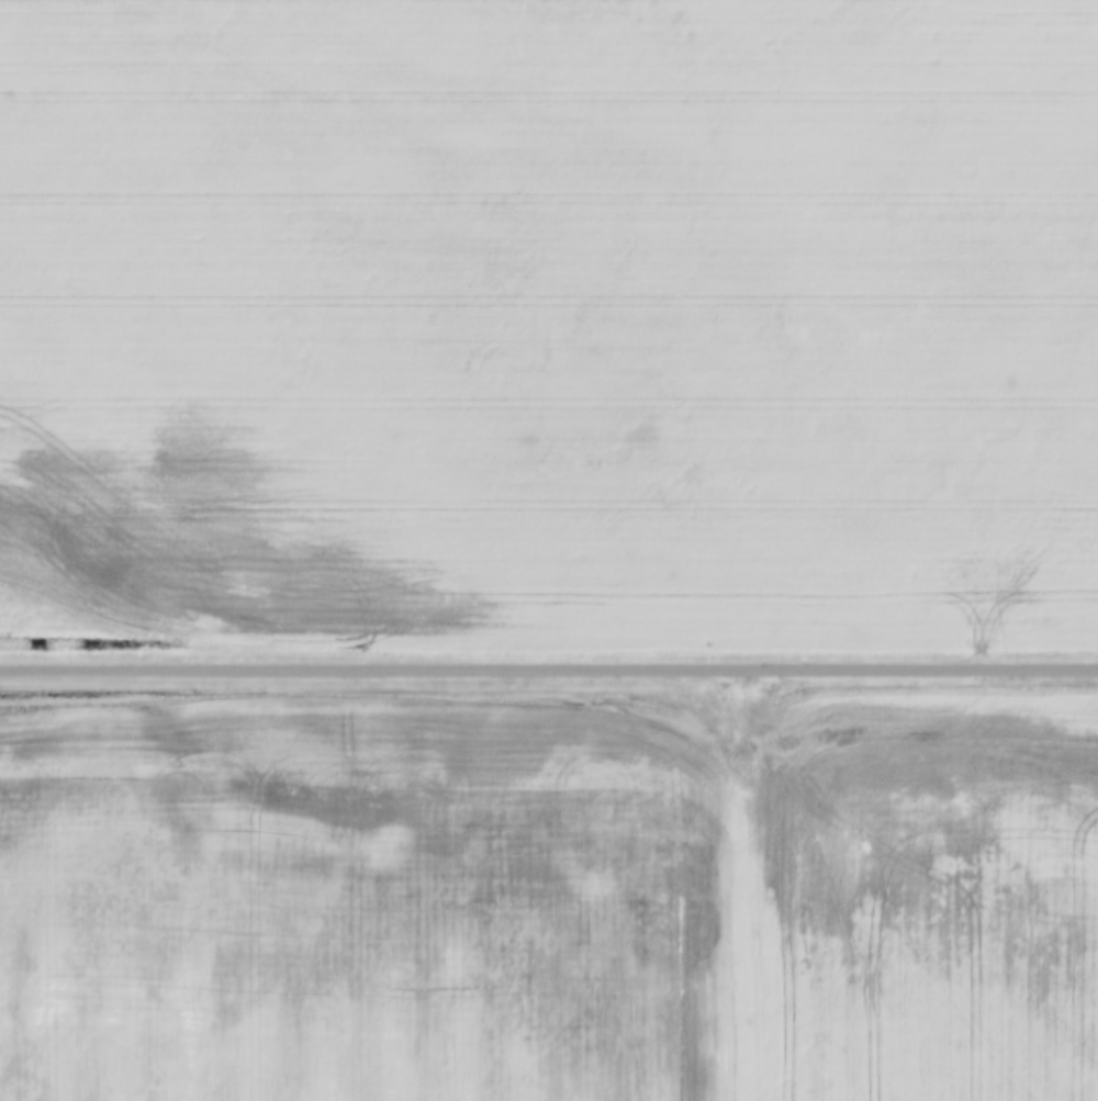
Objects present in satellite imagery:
road: (549, 669)

